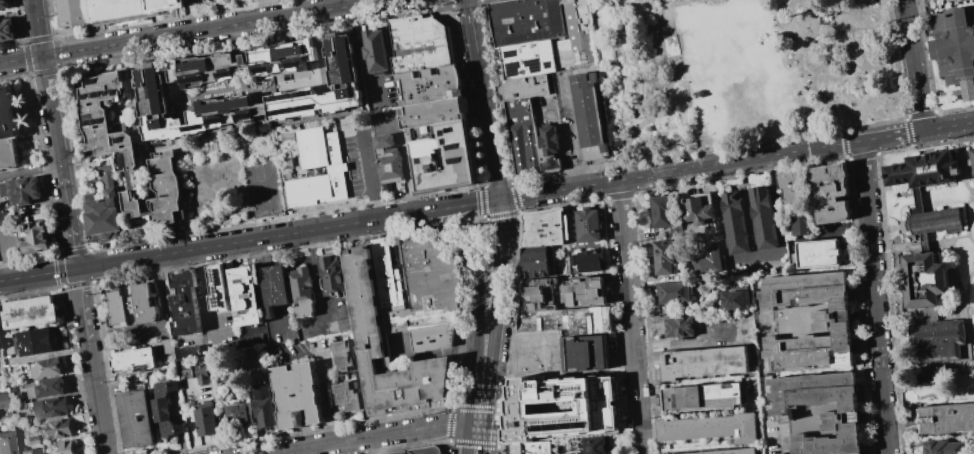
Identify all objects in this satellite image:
park: (701, 1)
park: (718, 1)
building: (5, 4)
road: (682, 5)
building: (110, 10)
building: (525, 20)
road: (472, 26)
building: (7, 30)
road: (192, 31)
building: (576, 35)
building: (421, 44)
building: (954, 49)
building: (378, 51)
traffic signals: (43, 56)
road: (364, 57)
building: (525, 59)
road: (914, 64)
rooftop solar panel: (297, 65)
building: (243, 69)
park: (741, 69)
rooftop solar panel: (263, 71)
rooftop solar panel: (230, 77)
rooftop solar panel: (197, 79)
building: (342, 80)
rooftop solar panel: (95, 81)
road: (683, 81)
building: (429, 85)
building: (524, 86)
road: (48, 88)
road: (621, 89)
rooftop solar panel: (99, 94)
rooftop solar panel: (306, 94)
rooftop solar panel: (283, 98)
building: (293, 108)
rooftop solar panel: (306, 108)
building: (155, 109)
rooftop solar panel: (282, 111)
building: (518, 111)
building: (433, 112)
building: (590, 115)
road: (655, 115)
building: (221, 117)
rooftop solar panel: (243, 119)
rooftop solar panel: (214, 121)
rooftop solar panel: (94, 123)
rooftop solar panel: (218, 124)
road: (949, 125)
road: (488, 126)
rooftop solar panel: (196, 127)
road: (576, 130)
building: (8, 131)
road: (893, 135)
rooftop solar panel: (121, 139)
rooftop solar panel: (455, 145)
building: (524, 148)
building: (548, 149)
building: (127, 151)
building: (445, 157)
building: (972, 157)
rooftop solar panel: (459, 160)
building: (389, 161)
parking lot: (361, 164)
road: (404, 166)
building: (337, 168)
road: (681, 169)
road: (30, 170)
building: (921, 170)
road: (370, 176)
building: (791, 187)
park: (262, 188)
building: (22, 190)
building: (830, 193)
traffic signals: (501, 199)
road: (451, 207)
building: (698, 208)
building: (104, 211)
building: (663, 211)
building: (763, 218)
building: (934, 220)
road: (70, 223)
building: (736, 223)
building: (799, 224)
building: (588, 225)
rooftop solar panel: (547, 226)
building: (545, 227)
rooftop solar panel: (544, 229)
building: (35, 234)
rooftop solar panel: (545, 234)
road: (460, 241)
road: (240, 242)
road: (4, 253)
building: (820, 253)
road: (756, 256)
building: (664, 257)
building: (591, 260)
building: (710, 260)
building: (535, 262)
traffic signals: (78, 268)
road: (39, 274)
building: (331, 274)
rooftop solar panel: (221, 278)
road: (317, 279)
road: (86, 285)
building: (274, 285)
road: (76, 286)
building: (217, 286)
building: (584, 291)
building: (302, 292)
building: (674, 292)
road: (204, 294)
building: (540, 294)
building: (244, 295)
road: (875, 297)
building: (735, 299)
rooftop solar panel: (223, 300)
building: (183, 302)
building: (132, 305)
road: (702, 308)
building: (931, 311)
building: (29, 312)
road: (495, 314)
road: (632, 316)
building: (403, 318)
building: (590, 319)
building: (542, 320)
building: (830, 323)
building: (679, 327)
road: (478, 336)
building: (36, 341)
road: (681, 342)
building: (167, 345)
building: (585, 352)
building: (536, 354)
building: (342, 356)
building: (133, 360)
building: (704, 362)
building: (383, 365)
road: (928, 367)
building: (44, 368)
building: (201, 374)
road: (94, 379)
building: (46, 388)
building: (295, 395)
building: (346, 396)
building: (701, 397)
road: (472, 399)
building: (2, 400)
building: (263, 404)
building: (50, 407)
building: (559, 407)
building: (165, 411)
building: (817, 412)
building: (237, 414)
building: (135, 419)
building: (948, 419)
building: (206, 421)
traffic signals: (477, 427)
building: (708, 427)
building: (57, 428)
road: (370, 436)
building: (28, 440)
road: (474, 440)
building: (5, 443)
building: (594, 445)
building: (60, 447)
building: (528, 447)
building: (943, 447)
building: (26, 451)
road: (294, 451)
building: (400, 451)
building: (723, 451)

